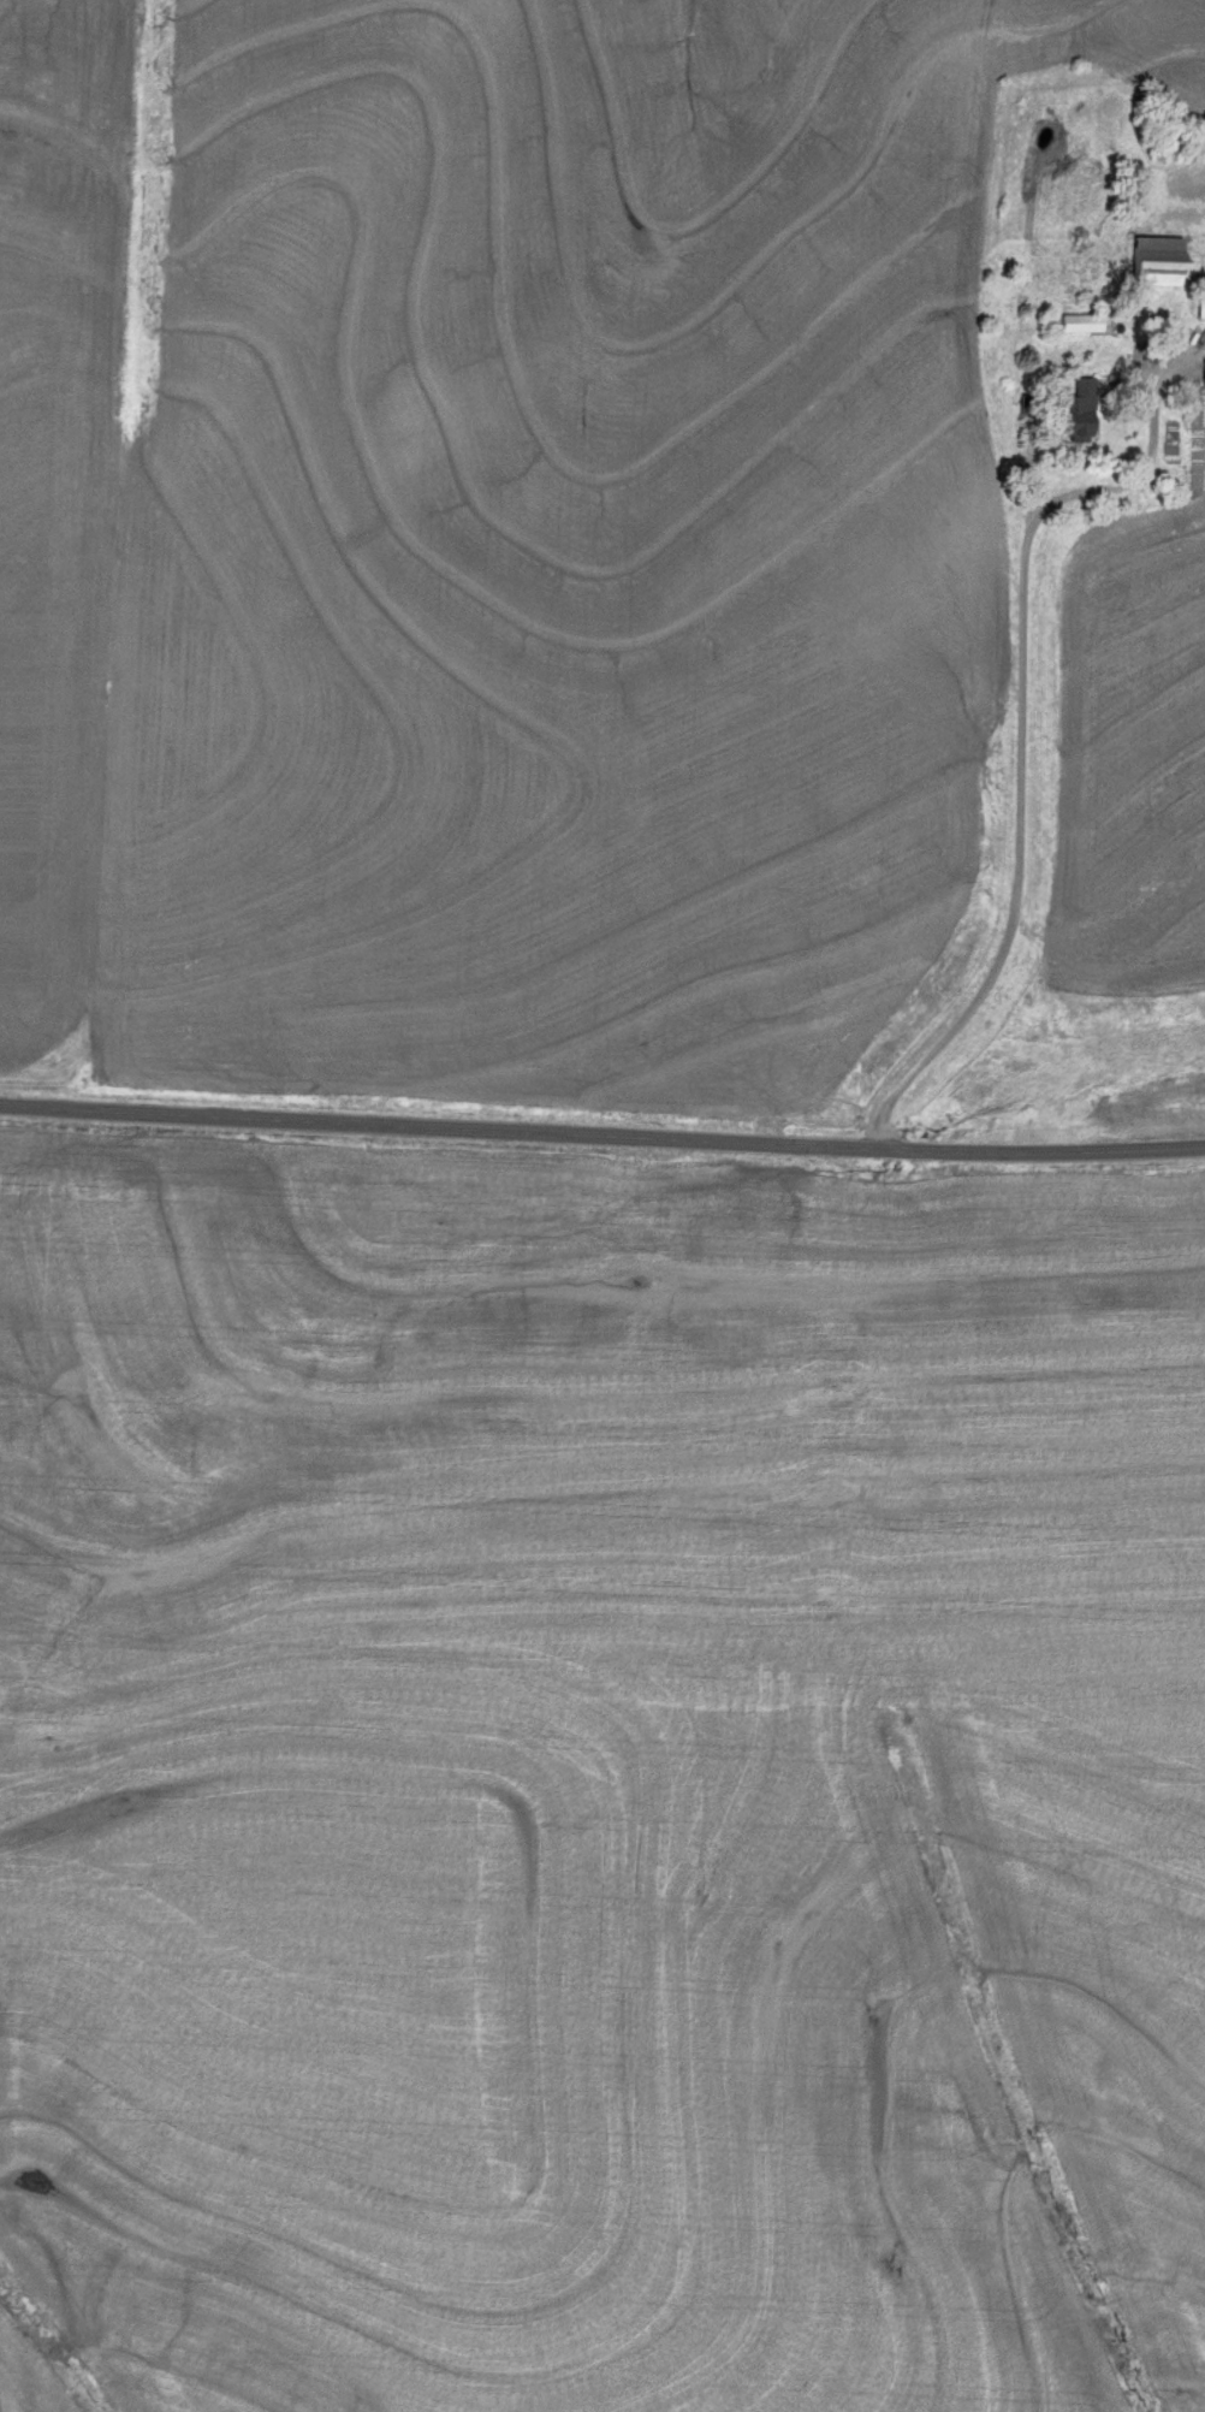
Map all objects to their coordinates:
building: (1150, 261)
building: (1199, 307)
building: (1078, 322)
building: (1201, 374)
building: (1072, 410)
road: (1020, 768)
road: (601, 1134)

